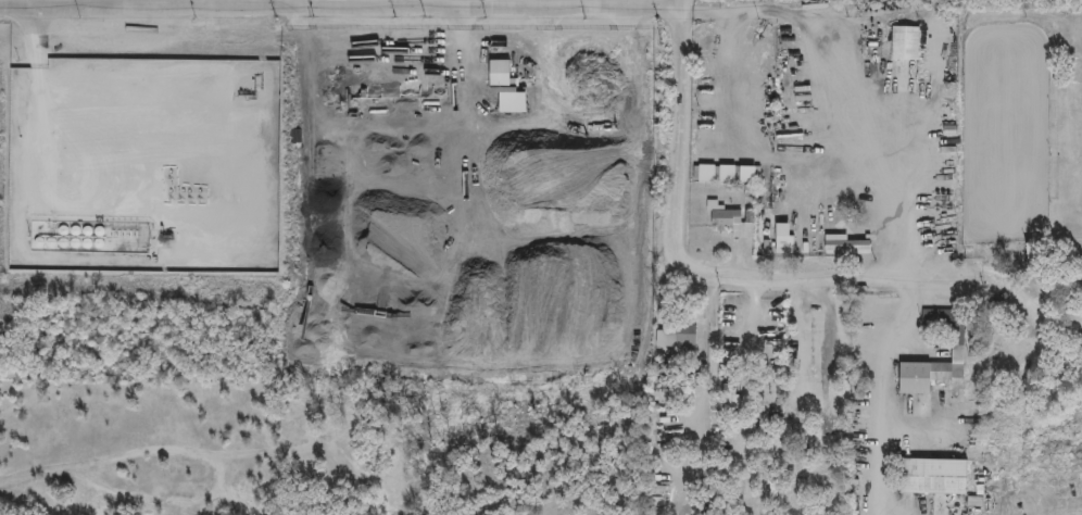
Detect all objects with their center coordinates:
road: (45, 3)
road: (403, 3)
road: (500, 3)
road: (543, 3)
road: (679, 3)
road: (264, 4)
road: (299, 4)
road: (471, 8)
building: (905, 41)
building: (501, 72)
building: (725, 172)
building: (729, 217)
building: (846, 225)
building: (1032, 250)
road: (701, 266)
building: (1081, 269)
building: (677, 336)
building: (818, 337)
building: (958, 343)
road: (713, 360)
building: (767, 361)
road: (883, 393)
building: (934, 475)
building: (655, 488)
building: (771, 490)

